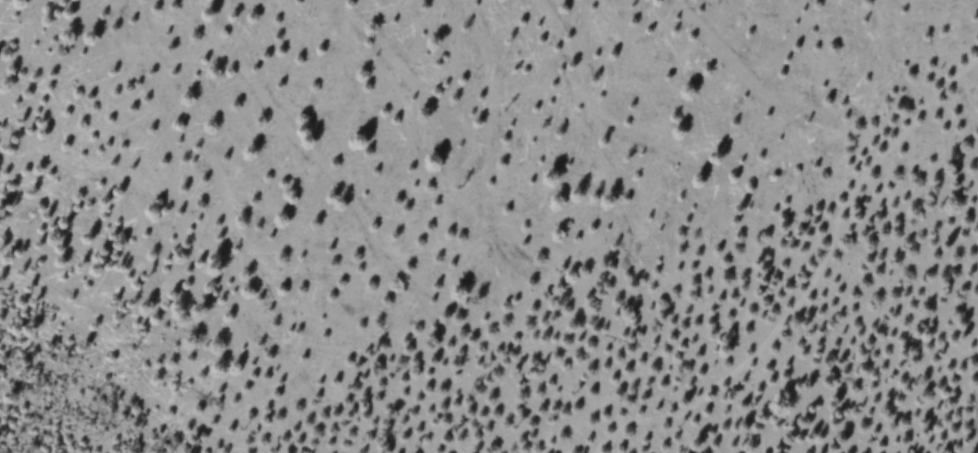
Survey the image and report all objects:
road: (813, 278)

